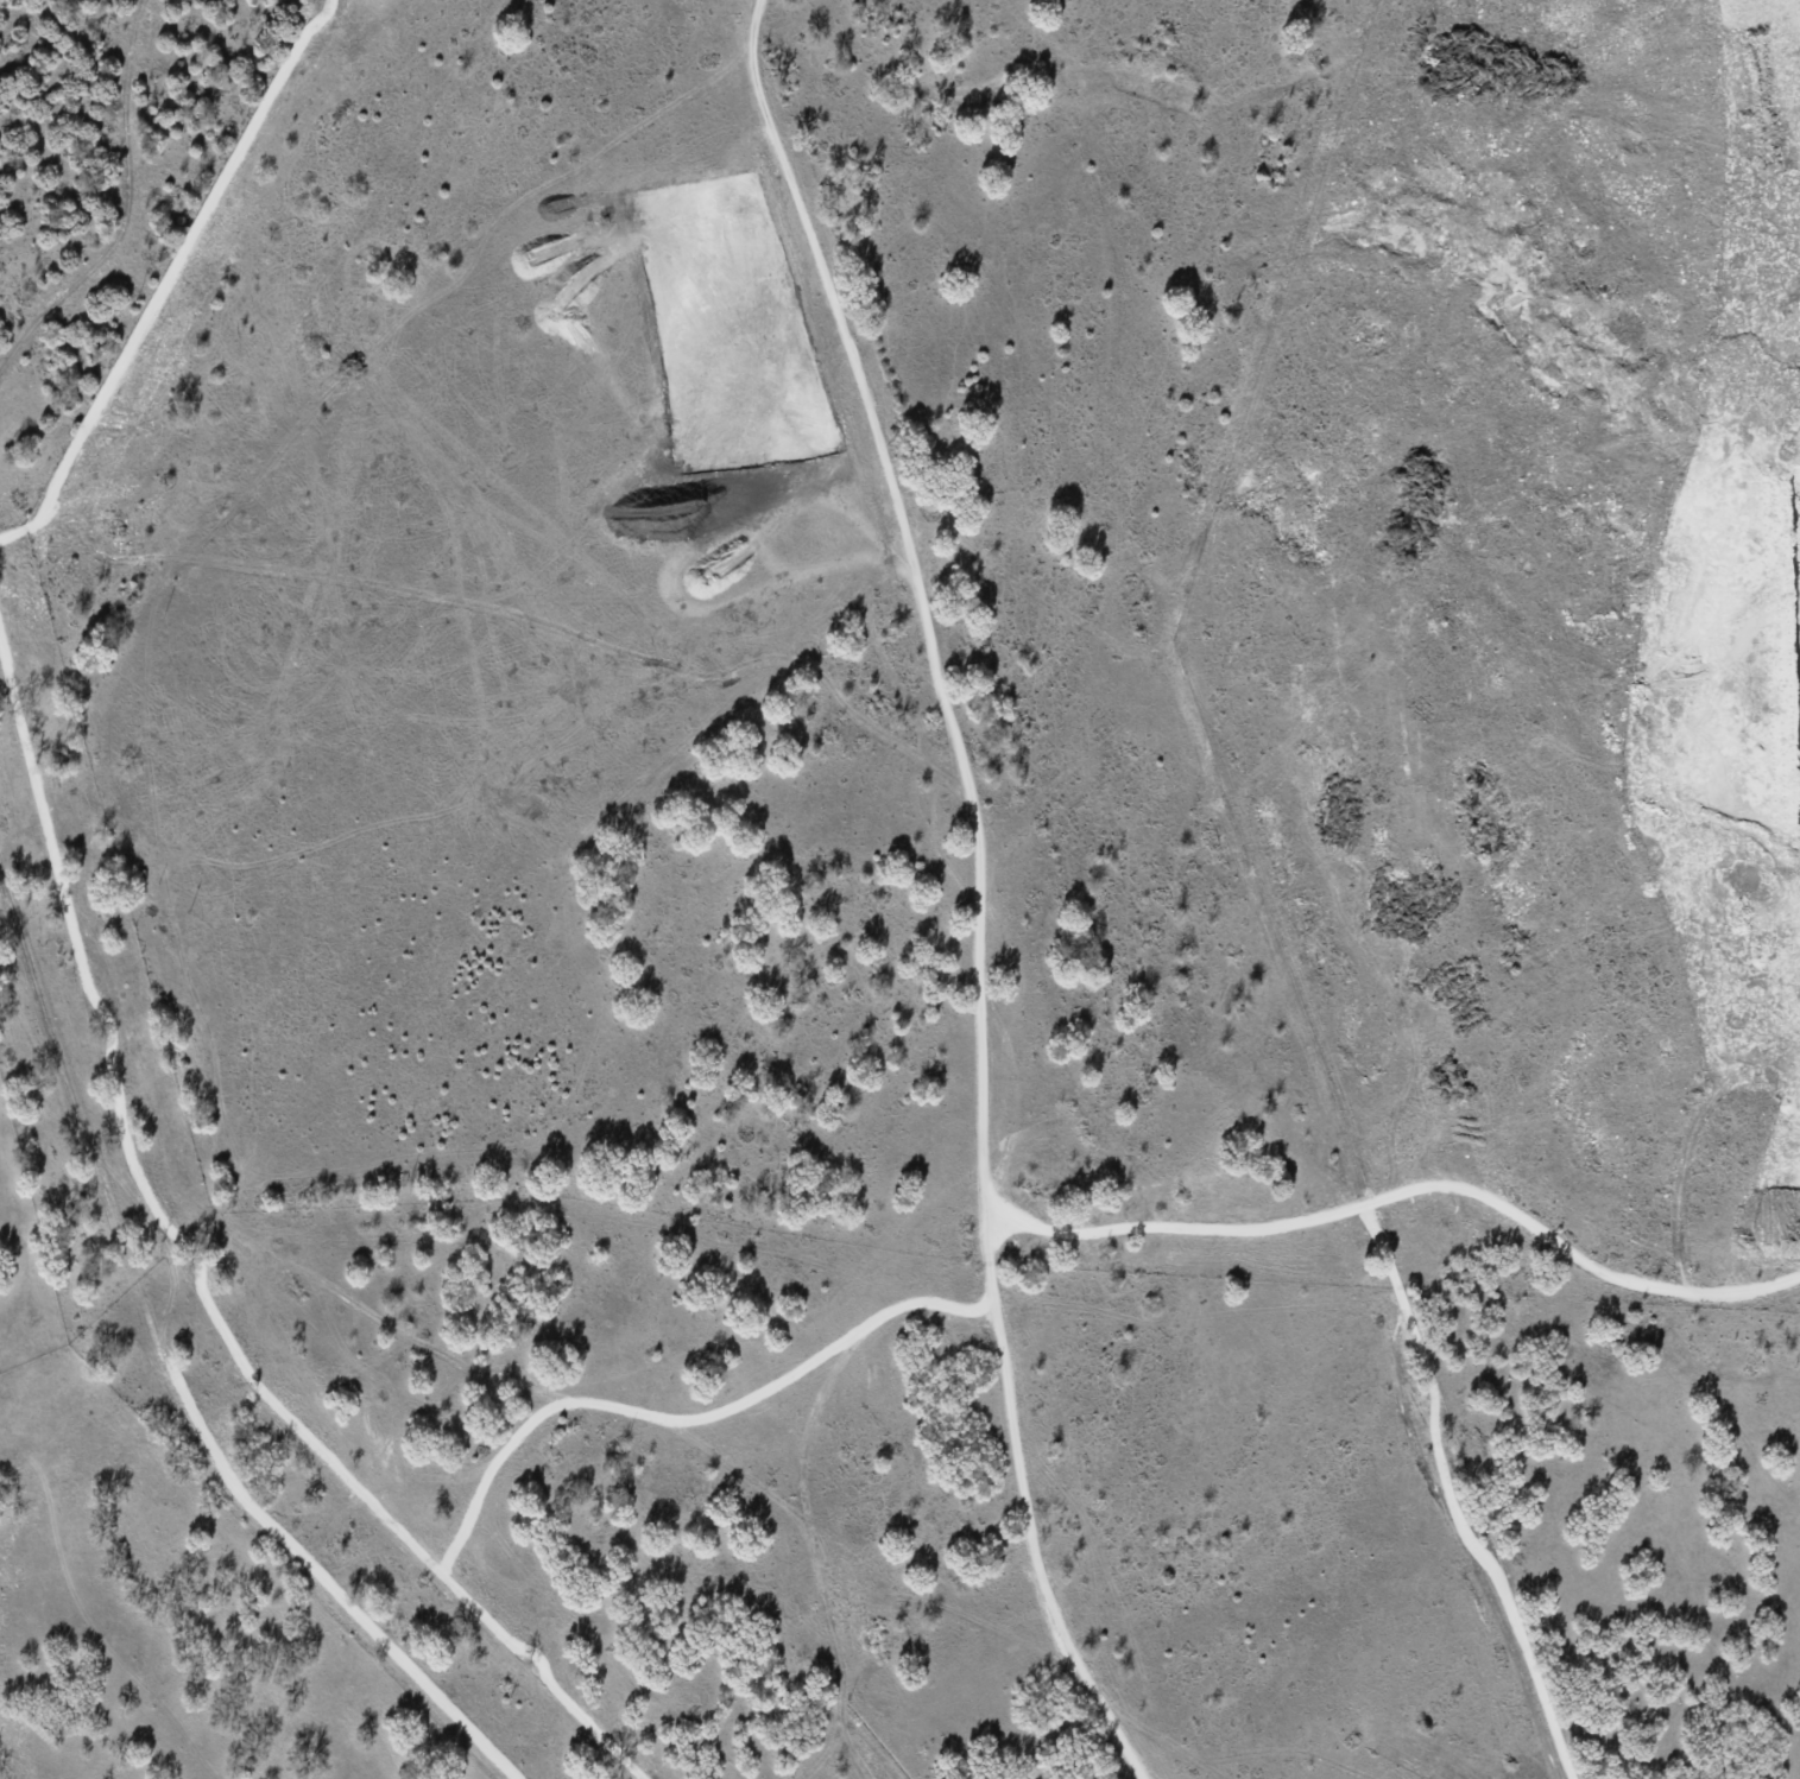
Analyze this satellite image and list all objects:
road: (978, 887)

